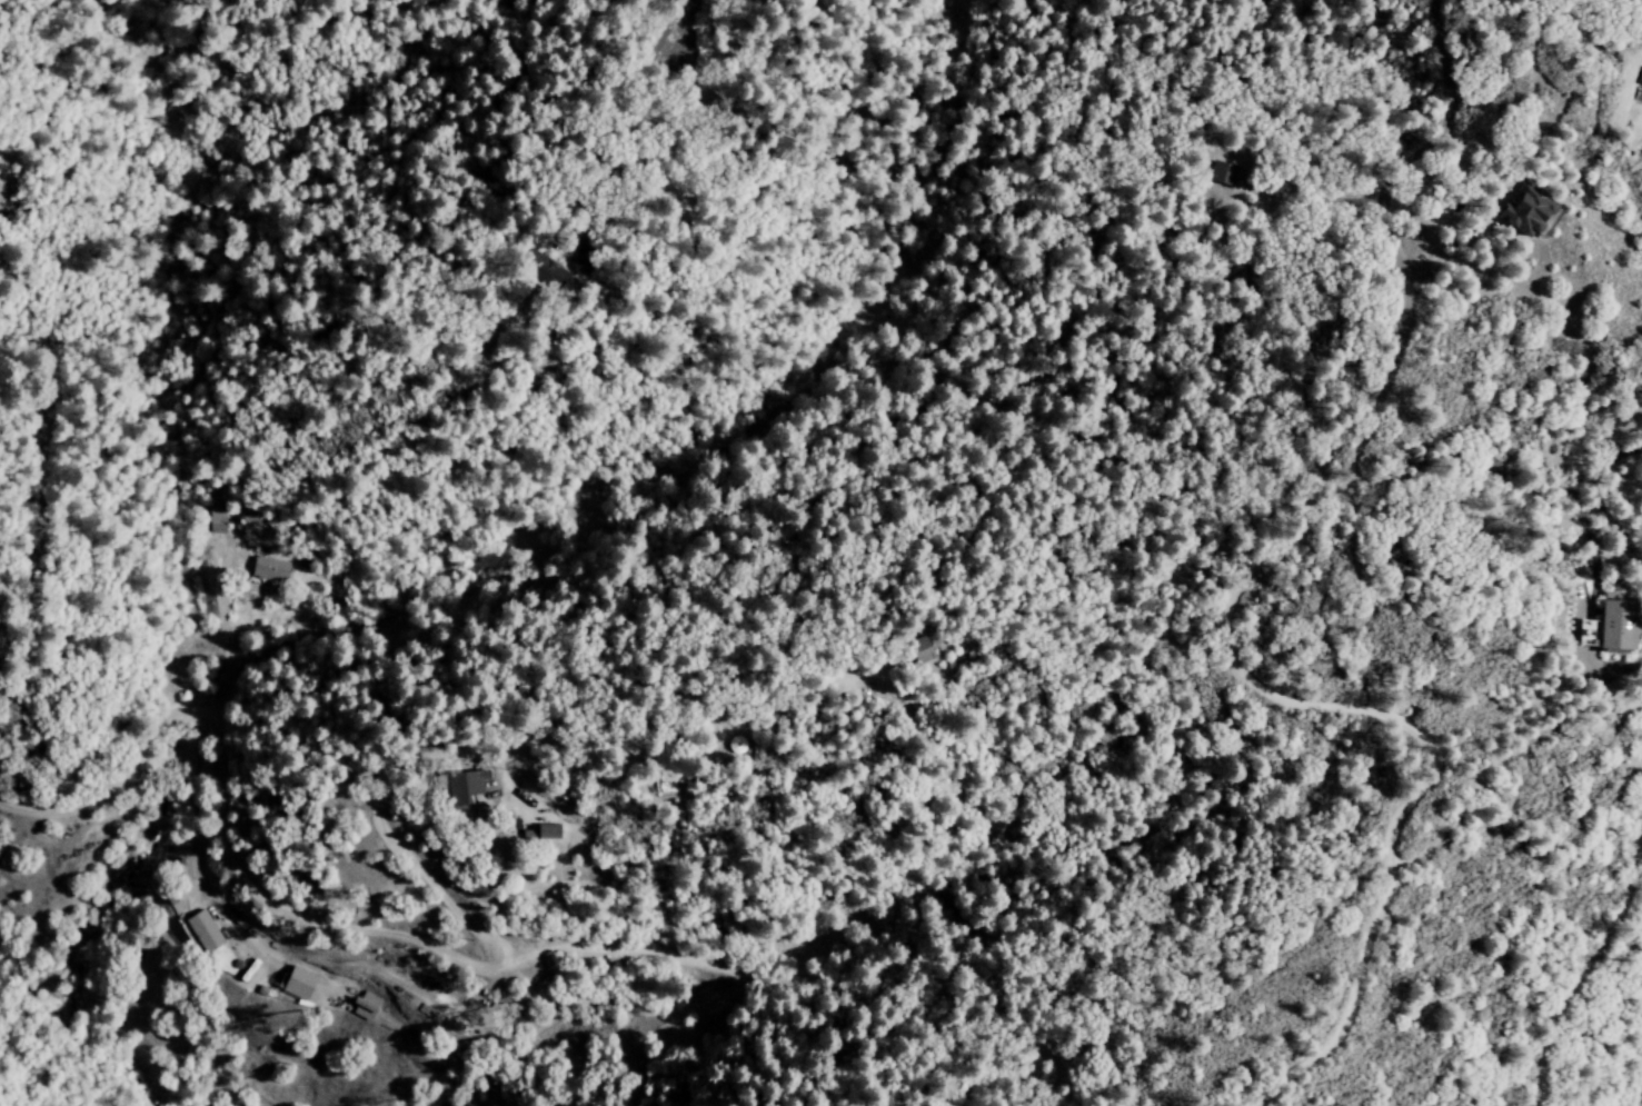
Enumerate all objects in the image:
road: (678, 31)
building: (1221, 172)
building: (1523, 210)
building: (537, 268)
road: (1331, 507)
building: (220, 521)
building: (269, 569)
building: (1614, 624)
building: (1586, 635)
building: (918, 650)
road: (115, 770)
building: (464, 785)
road: (1466, 789)
building: (202, 931)
building: (298, 985)
road: (1584, 985)
road: (400, 1002)
road: (900, 1053)

